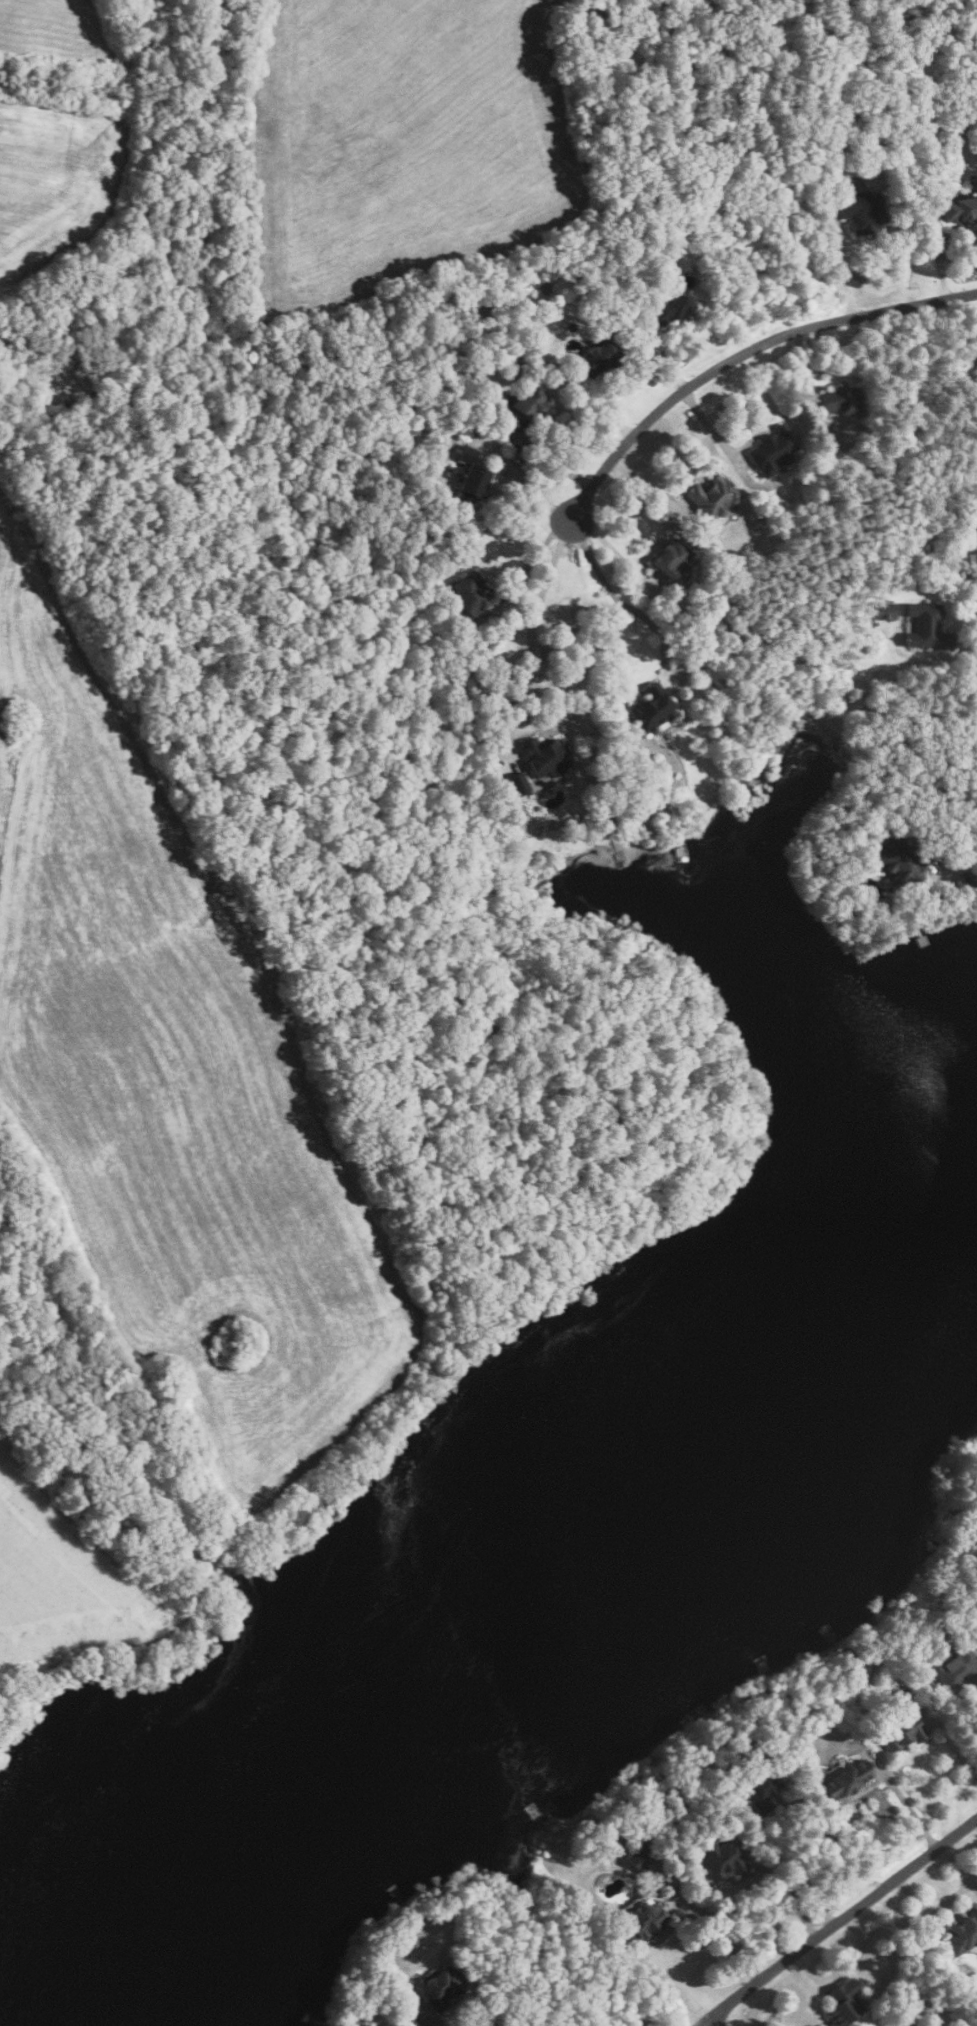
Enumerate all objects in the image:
crop: (400, 141)
building: (824, 170)
building: (960, 208)
building: (862, 210)
road: (937, 254)
road: (839, 268)
building: (672, 307)
road: (744, 353)
road: (664, 357)
building: (598, 359)
road: (806, 368)
building: (841, 398)
building: (526, 406)
road: (595, 410)
road: (708, 427)
building: (773, 449)
road: (548, 459)
building: (470, 474)
road: (647, 484)
road: (522, 485)
building: (712, 497)
building: (973, 541)
road: (613, 552)
building: (671, 558)
road: (533, 559)
building: (471, 593)
building: (885, 611)
road: (638, 613)
building: (928, 627)
road: (964, 656)
road: (533, 663)
building: (650, 708)
building: (545, 756)
building: (516, 785)
road: (975, 860)
building: (901, 863)
building: (955, 1669)
building: (900, 1732)
road: (954, 1746)
building: (846, 1781)
building: (762, 1788)
road: (905, 1802)
building: (640, 1855)
building: (721, 1860)
road: (793, 1874)
road: (788, 1895)
road: (947, 1899)
building: (642, 1920)
road: (838, 1921)
road: (726, 1931)
building: (963, 1935)
road: (842, 1970)
building: (441, 1986)
building: (843, 2002)

